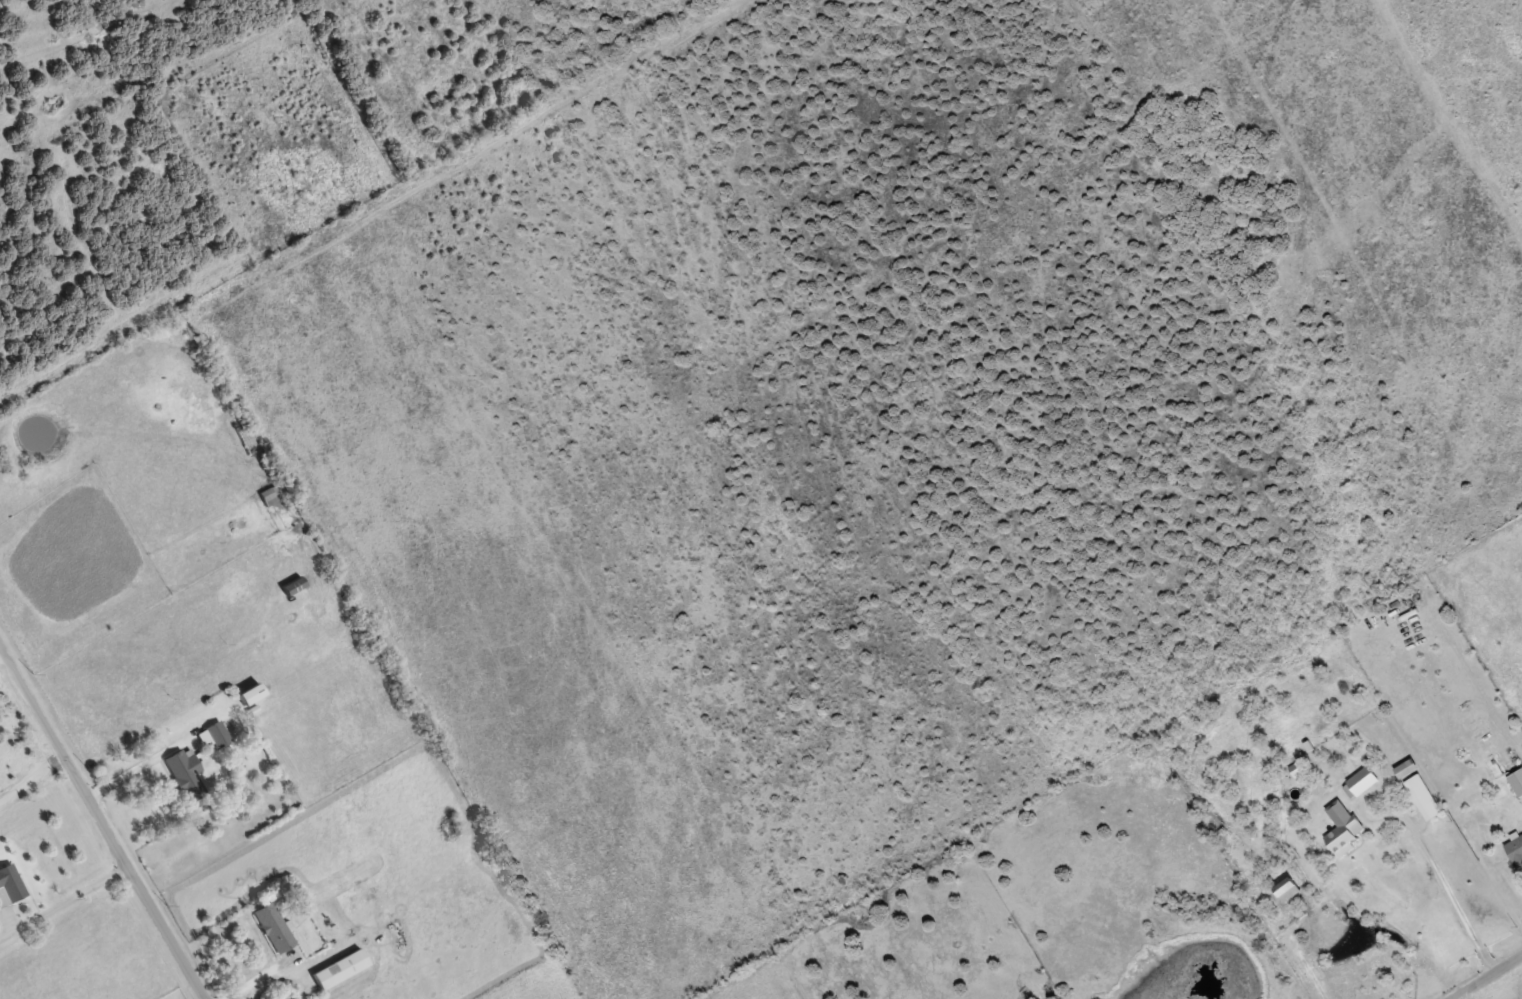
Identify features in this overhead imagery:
building: (268, 496)
building: (249, 694)
building: (215, 734)
building: (1299, 770)
building: (186, 773)
building: (1363, 780)
building: (1517, 781)
building: (1423, 796)
road: (102, 821)
building: (1343, 828)
building: (1515, 850)
building: (10, 885)
building: (274, 927)
building: (340, 968)
road: (1485, 976)

